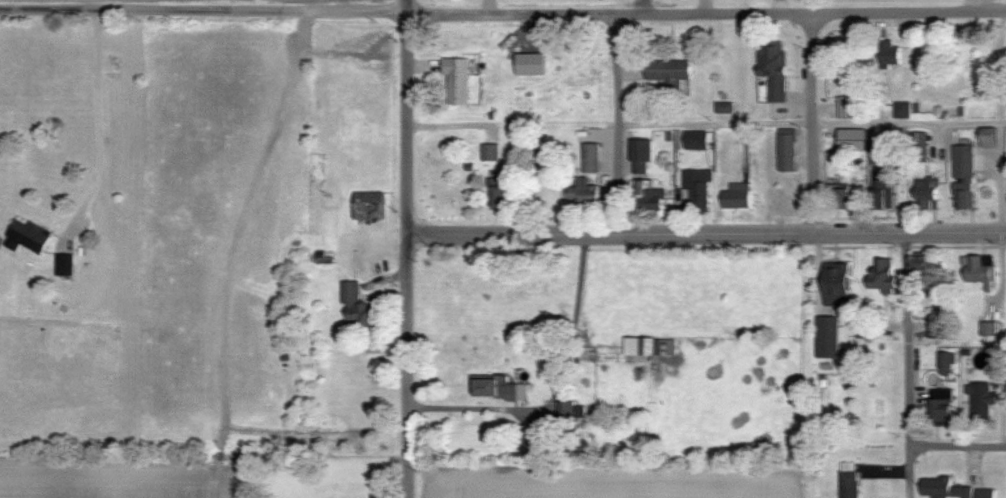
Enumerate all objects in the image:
road: (203, 11)
road: (706, 15)
building: (889, 55)
building: (772, 68)
building: (668, 73)
building: (456, 81)
building: (846, 108)
building: (901, 110)
road: (811, 123)
road: (99, 124)
road: (617, 125)
road: (909, 125)
road: (715, 126)
building: (987, 138)
building: (696, 140)
building: (852, 140)
building: (918, 148)
building: (786, 151)
building: (490, 152)
building: (641, 156)
building: (591, 157)
building: (879, 157)
building: (963, 178)
building: (697, 188)
building: (502, 189)
building: (882, 190)
building: (584, 193)
building: (927, 194)
building: (650, 196)
building: (736, 197)
building: (838, 200)
building: (368, 206)
road: (706, 234)
building: (26, 236)
road: (406, 249)
building: (64, 265)
building: (980, 269)
building: (923, 270)
building: (882, 275)
building: (836, 284)
building: (359, 310)
building: (936, 325)
building: (987, 329)
building: (652, 348)
building: (945, 364)
road: (908, 365)
building: (498, 388)
building: (979, 401)
building: (939, 407)
building: (571, 412)
road: (958, 451)
building: (848, 480)
building: (942, 489)

